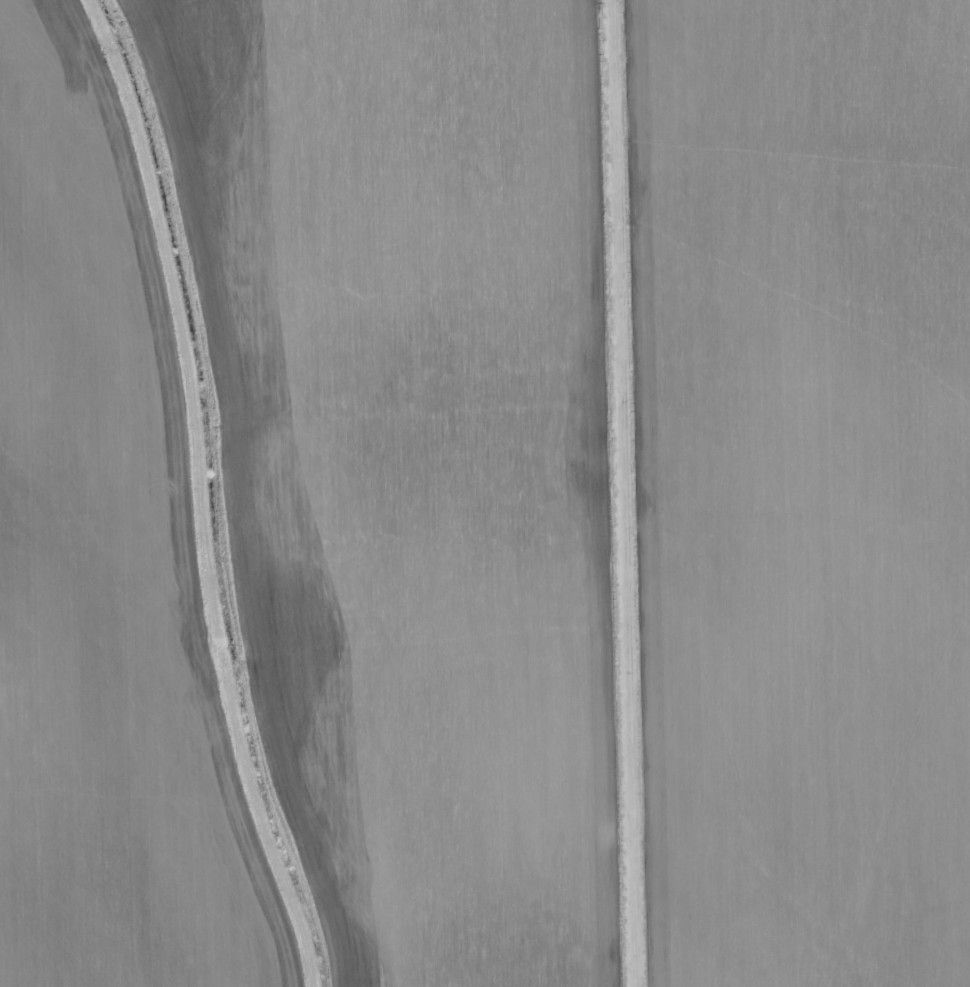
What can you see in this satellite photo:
road: (640, 493)

